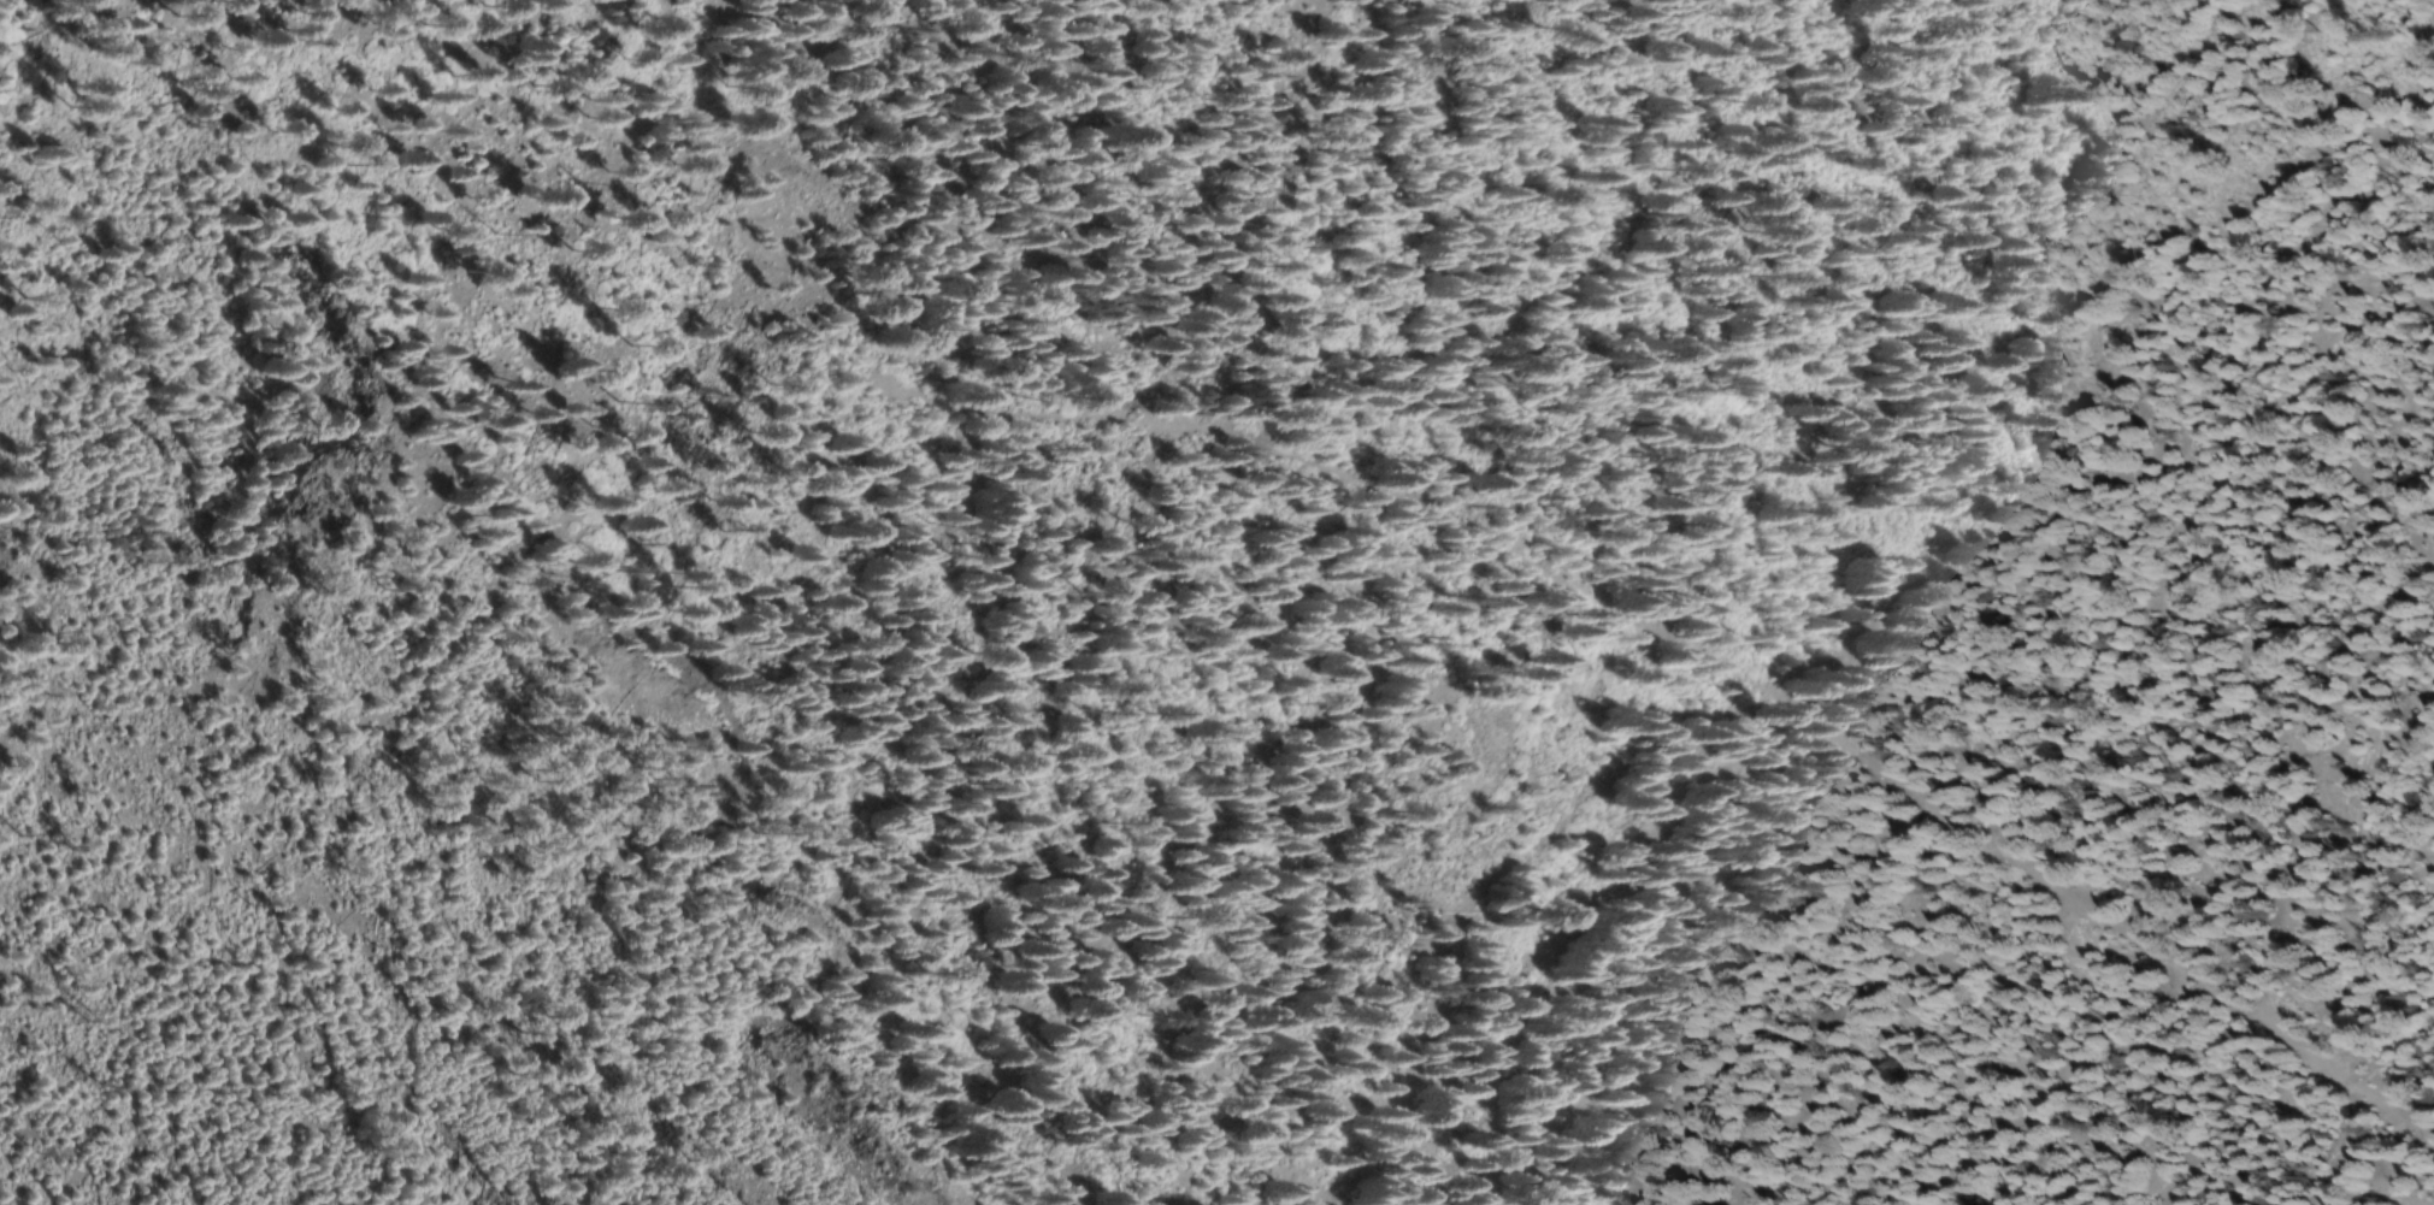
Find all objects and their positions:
road: (2385, 152)
road: (1749, 685)

